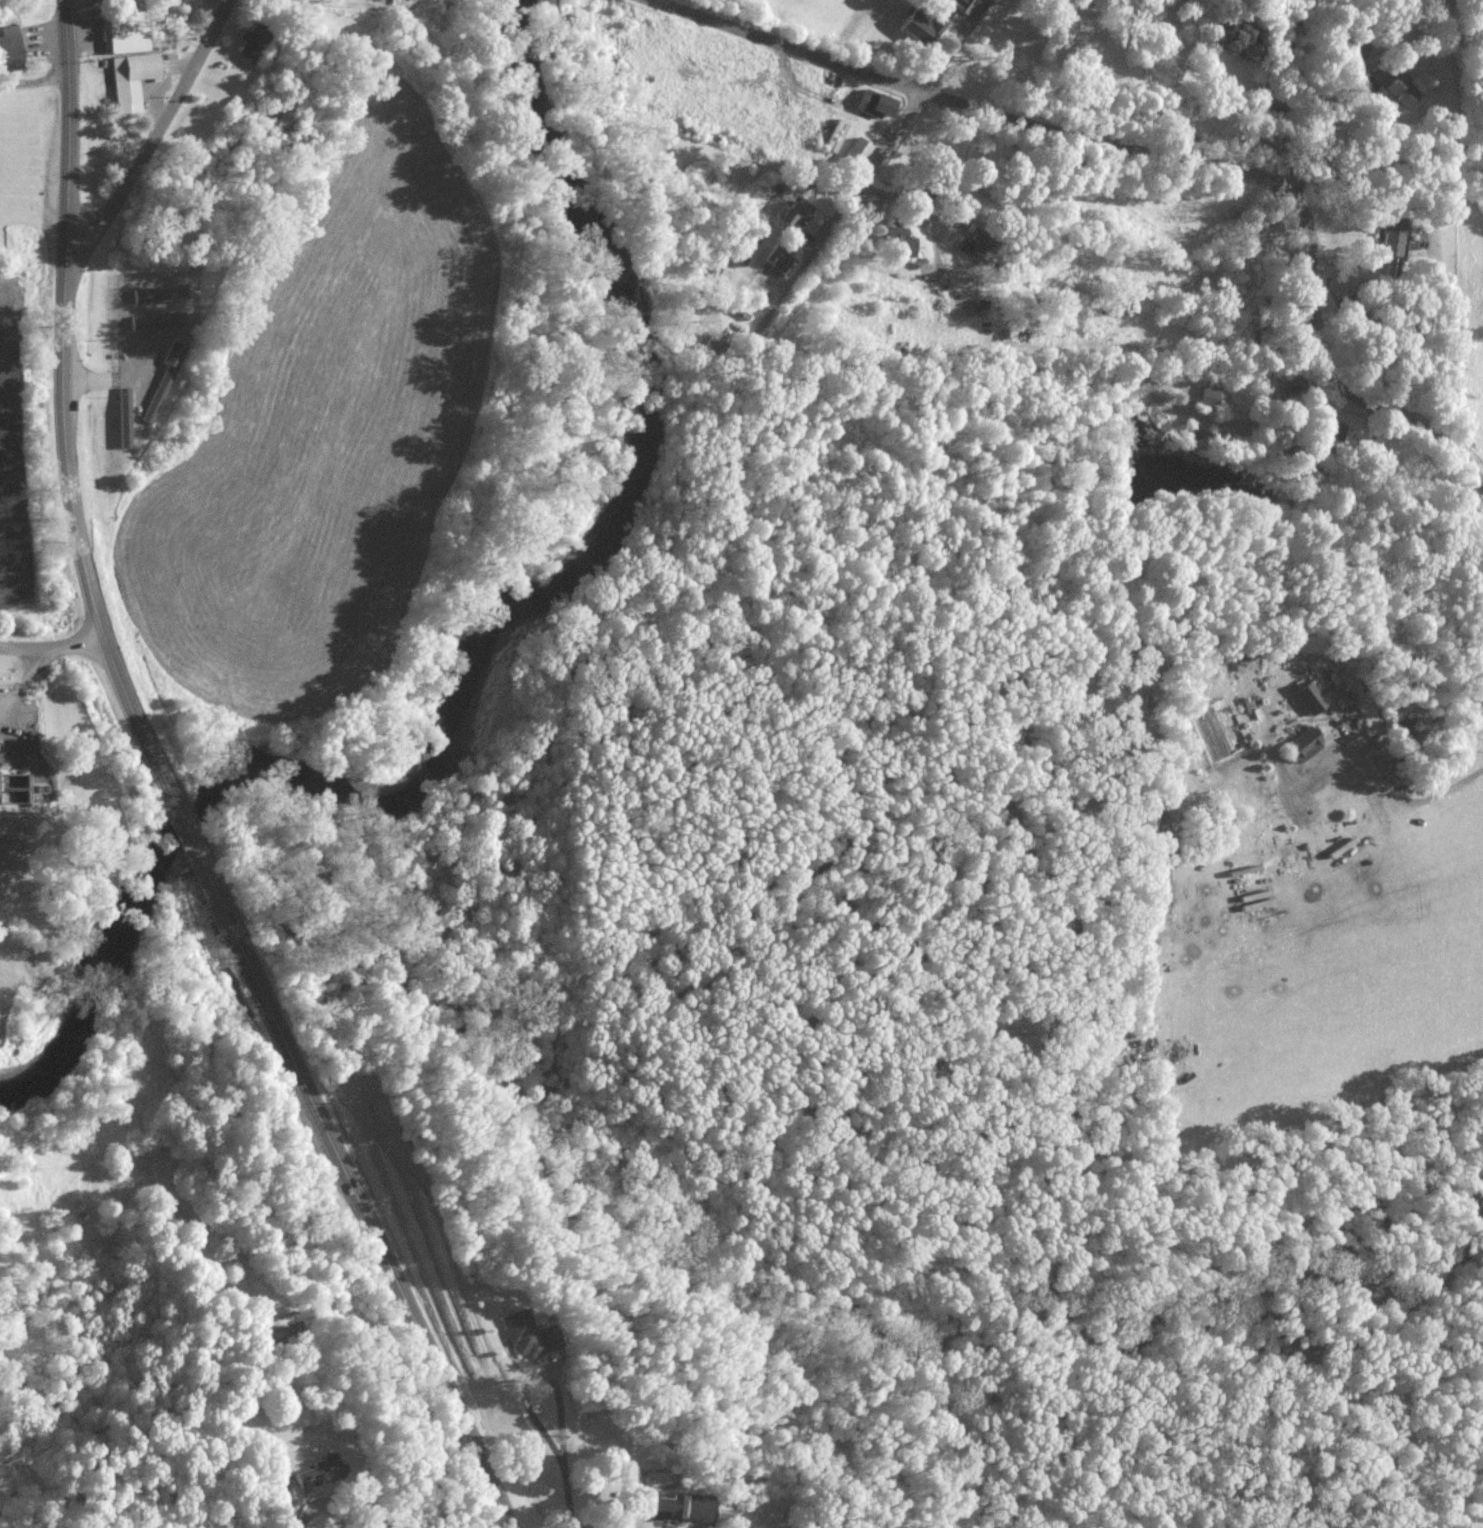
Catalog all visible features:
building: (961, 4)
building: (923, 28)
building: (1237, 42)
building: (251, 44)
road: (67, 47)
road: (785, 47)
road: (956, 47)
building: (9, 49)
building: (1360, 49)
building: (128, 59)
road: (34, 82)
building: (1396, 88)
building: (875, 105)
road: (157, 135)
road: (1319, 135)
road: (889, 140)
building: (856, 154)
road: (1290, 196)
building: (793, 216)
building: (1399, 236)
building: (900, 241)
building: (781, 262)
building: (159, 294)
building: (983, 308)
building: (158, 321)
building: (715, 344)
building: (163, 380)
building: (1209, 396)
building: (124, 418)
road: (65, 461)
road: (52, 646)
river: (481, 662)
building: (1310, 699)
building: (1301, 745)
wastewater plant: (18, 749)
road: (1402, 797)
road: (202, 867)
road: (370, 1226)
building: (283, 1325)
building: (528, 1335)
road: (533, 1373)
building: (318, 1474)
road: (568, 1499)
road: (320, 1503)
building: (673, 1508)
building: (724, 1512)

